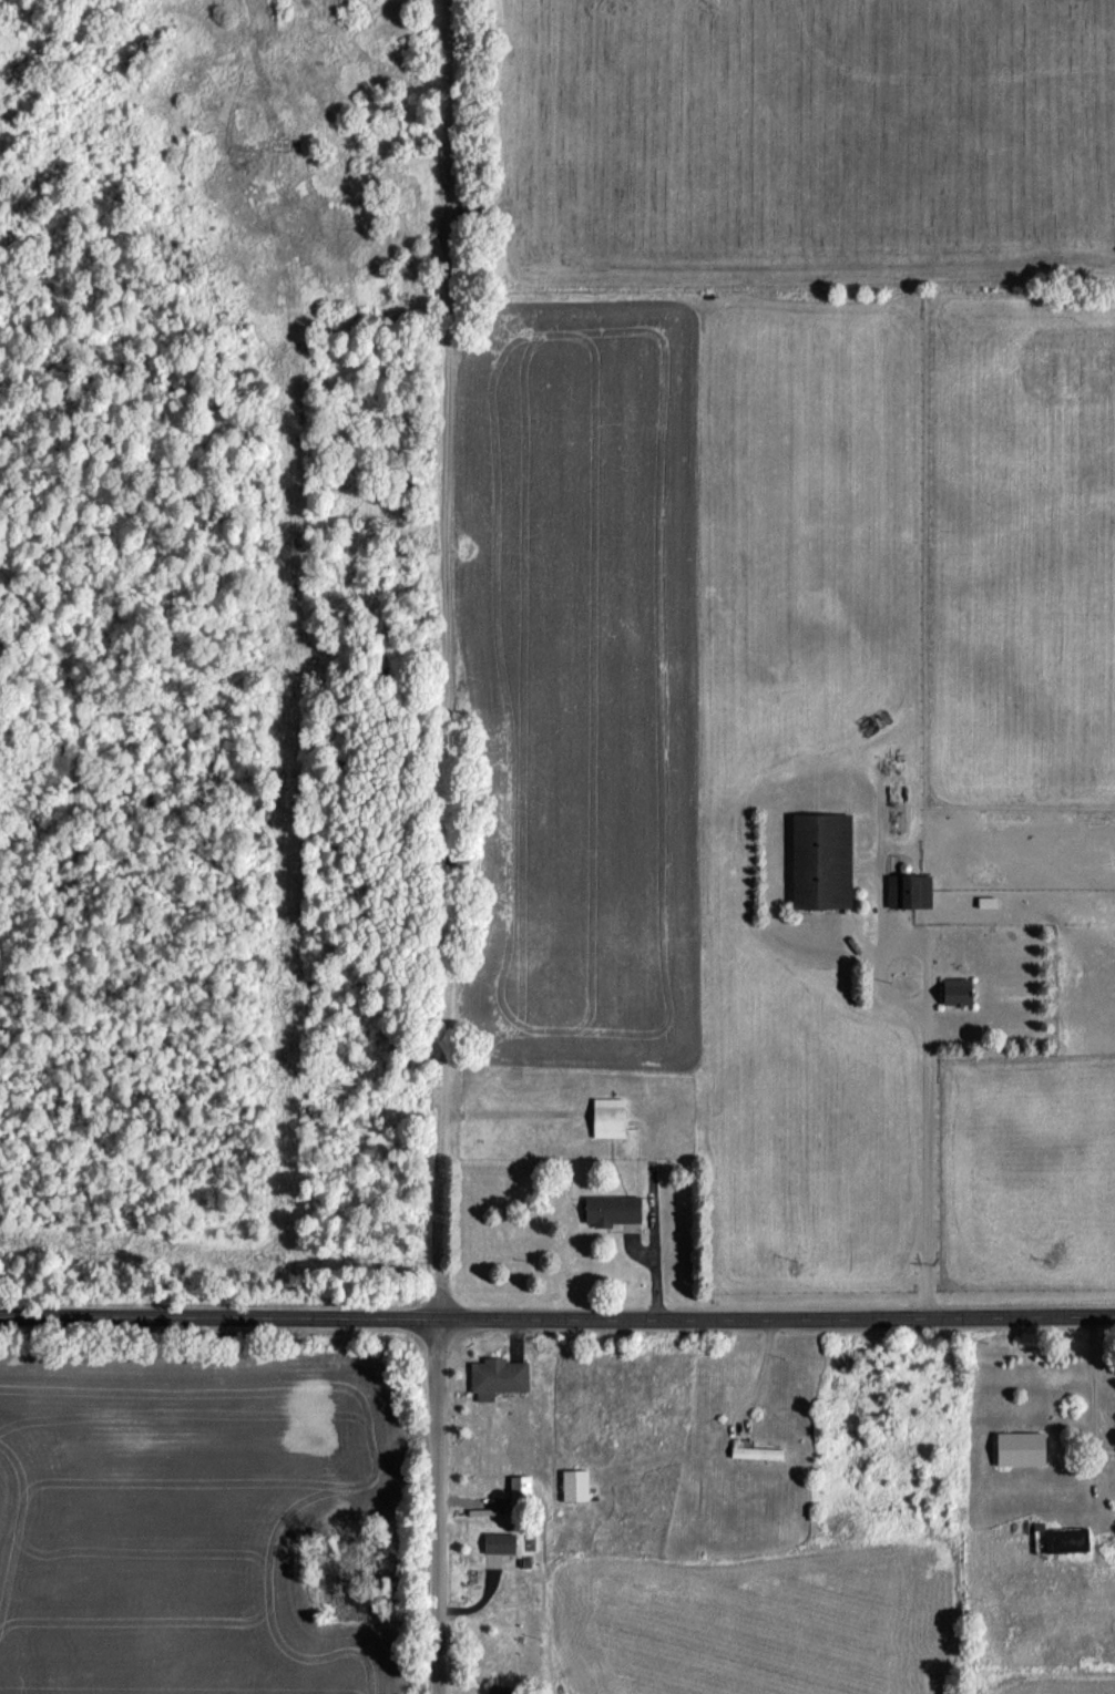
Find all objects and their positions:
park: (227, 653)
building: (818, 865)
building: (907, 895)
road: (879, 968)
building: (952, 996)
building: (605, 1123)
road: (929, 1135)
building: (610, 1214)
road: (556, 1325)
building: (495, 1383)
building: (1016, 1454)
building: (753, 1458)
building: (572, 1490)
building: (518, 1495)
road: (436, 1510)
building: (1063, 1546)
building: (497, 1548)
building: (493, 1692)

